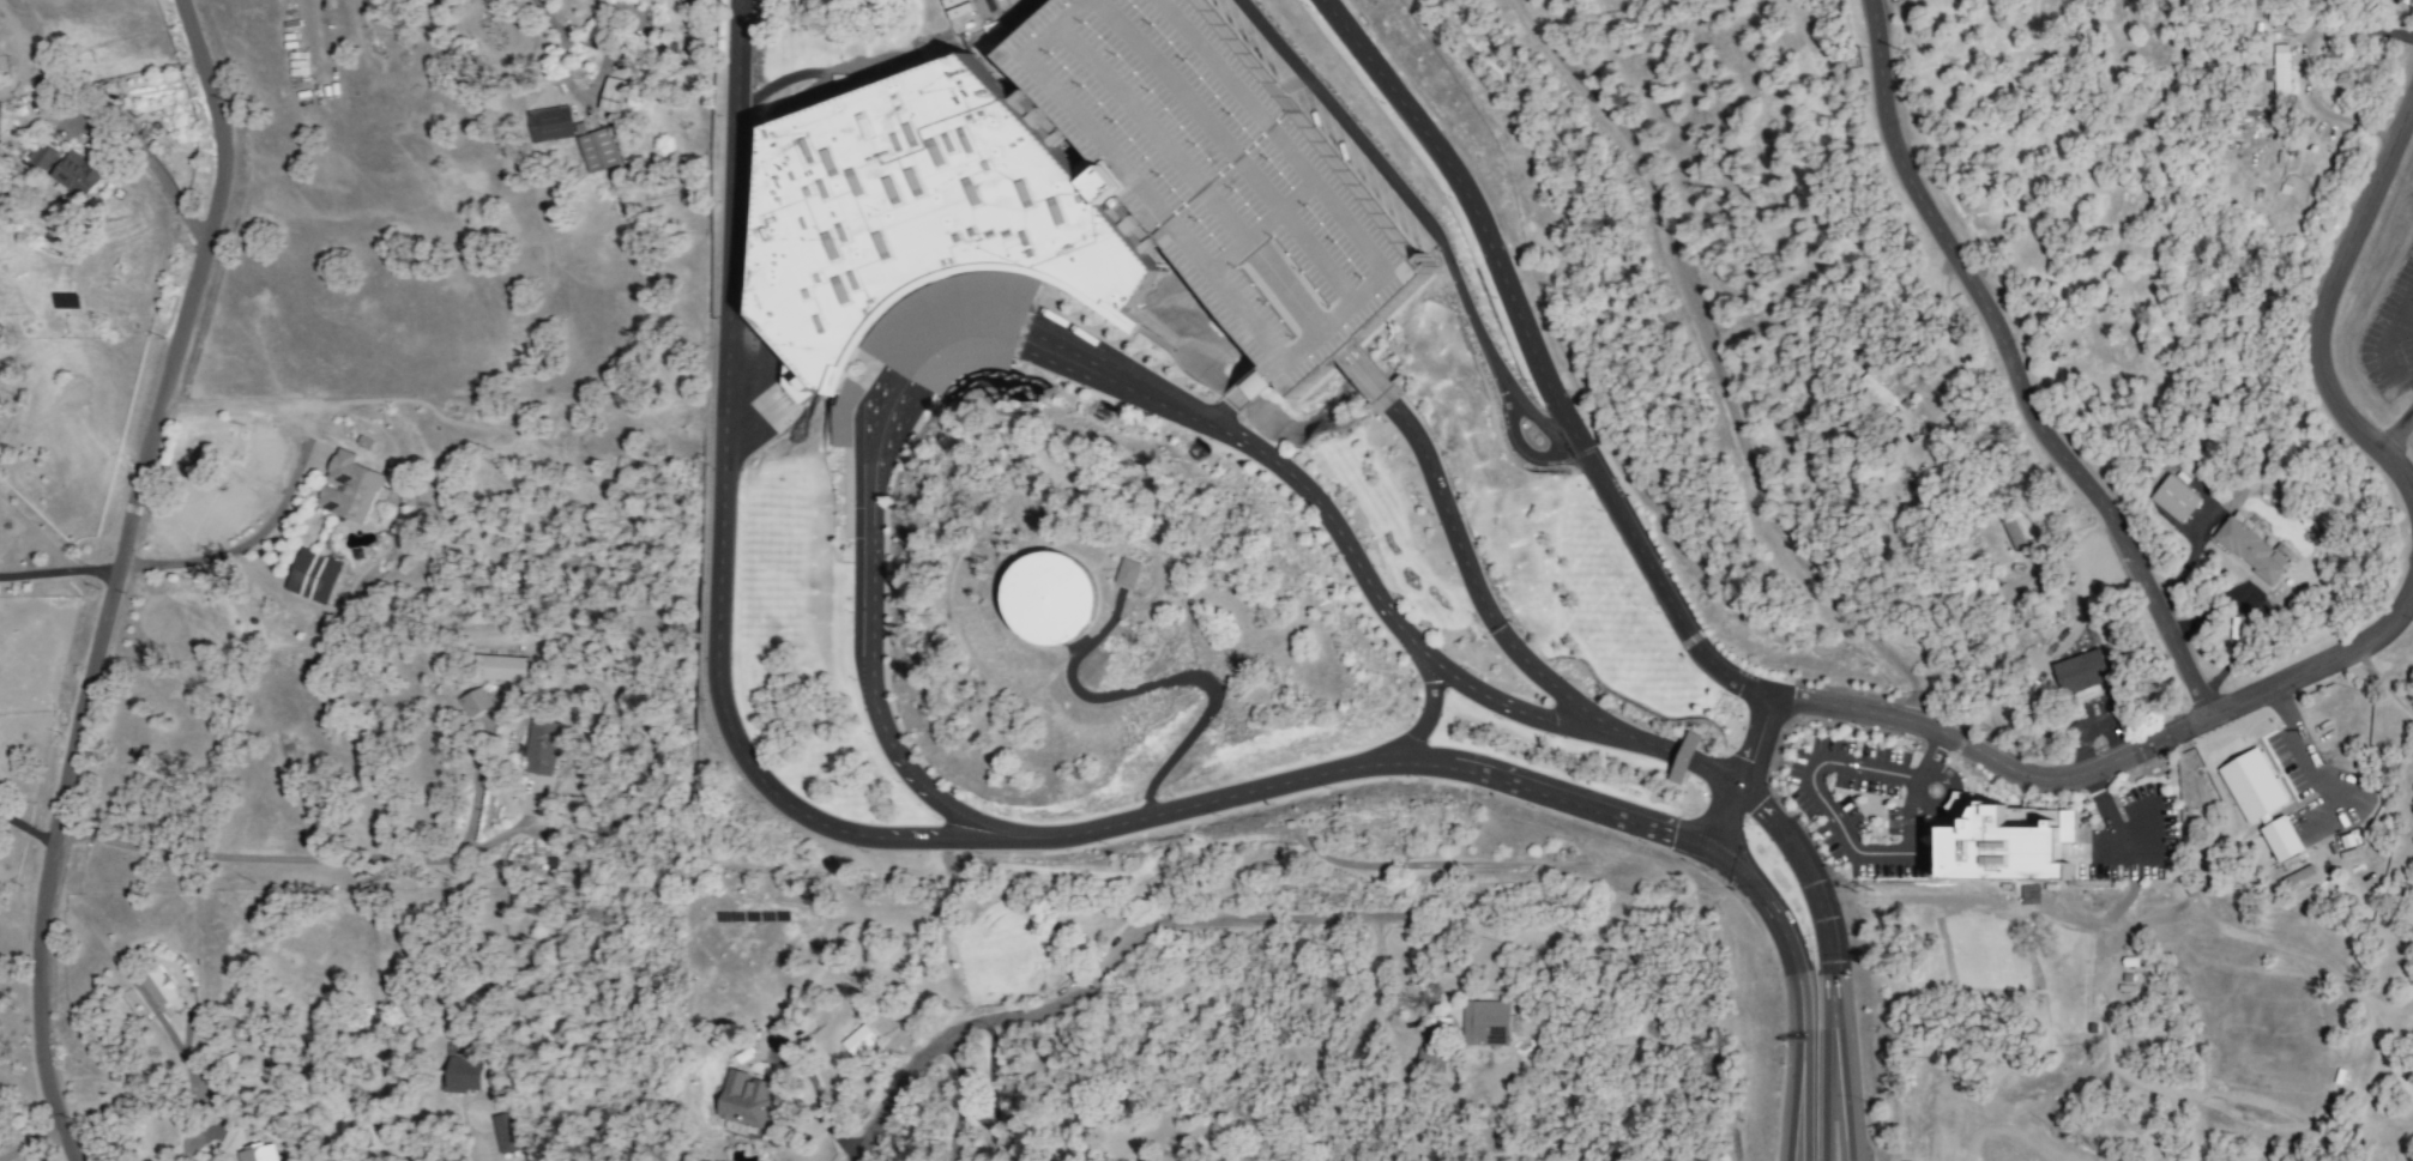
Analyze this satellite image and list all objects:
building: (960, 13)
road: (2358, 31)
building: (2279, 71)
road: (778, 83)
building: (610, 95)
building: (549, 125)
road: (1230, 149)
building: (597, 150)
road: (1170, 152)
building: (65, 171)
road: (158, 171)
building: (1230, 171)
parking lot: (1230, 171)
building: (925, 207)
road: (1280, 211)
road: (1436, 238)
road: (1286, 292)
road: (2327, 304)
road: (2408, 325)
road: (2385, 343)
road: (1058, 349)
road: (1954, 351)
road: (1289, 359)
road: (1362, 363)
road: (1714, 367)
road: (2016, 369)
road: (1539, 422)
road: (2391, 427)
building: (231, 464)
road: (289, 480)
building: (348, 488)
building: (2173, 498)
building: (2250, 550)
road: (60, 573)
building: (1134, 573)
road: (120, 576)
building: (312, 576)
building: (1057, 598)
water tower: (1070, 599)
road: (1718, 664)
building: (499, 667)
road: (1170, 682)
building: (475, 702)
road: (1428, 718)
road: (2304, 745)
building: (537, 748)
road: (1932, 751)
building: (1684, 758)
road: (1687, 762)
road: (1872, 767)
road: (1747, 772)
building: (2252, 786)
road: (1917, 815)
road: (2113, 821)
road: (1840, 827)
road: (28, 830)
road: (832, 832)
building: (2280, 839)
building: (2007, 845)
road: (284, 857)
road: (2129, 893)
road: (2022, 902)
road: (1582, 931)
road: (1117, 957)
road: (1828, 963)
building: (159, 987)
road: (1799, 990)
building: (1484, 1023)
building: (857, 1041)
building: (1424, 1056)
building: (229, 1065)
building: (463, 1074)
road: (1830, 1084)
road: (188, 1092)
road: (963, 1093)
building: (742, 1099)
road: (1802, 1099)
road: (818, 1102)
building: (503, 1132)
road: (31, 1141)
road: (476, 1148)
building: (258, 1153)

